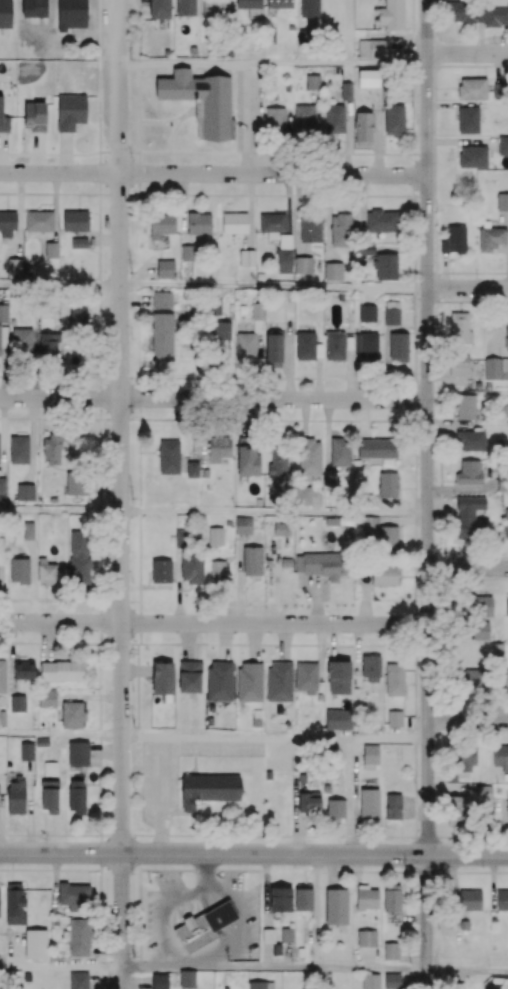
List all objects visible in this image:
road: (467, 54)
road: (273, 66)
road: (247, 120)
road: (213, 173)
road: (54, 206)
road: (18, 214)
road: (104, 239)
road: (60, 285)
road: (274, 286)
road: (468, 288)
road: (367, 294)
road: (135, 298)
road: (386, 362)
road: (287, 365)
road: (317, 379)
road: (214, 399)
road: (304, 417)
road: (363, 418)
road: (449, 421)
road: (121, 426)
road: (428, 427)
road: (452, 428)
road: (327, 433)
road: (462, 488)
road: (60, 512)
road: (274, 512)
road: (468, 569)
road: (214, 623)
road: (468, 719)
road: (61, 737)
road: (275, 738)
road: (253, 853)
road: (122, 921)
road: (427, 922)
road: (61, 965)
road: (274, 969)
road: (467, 972)

